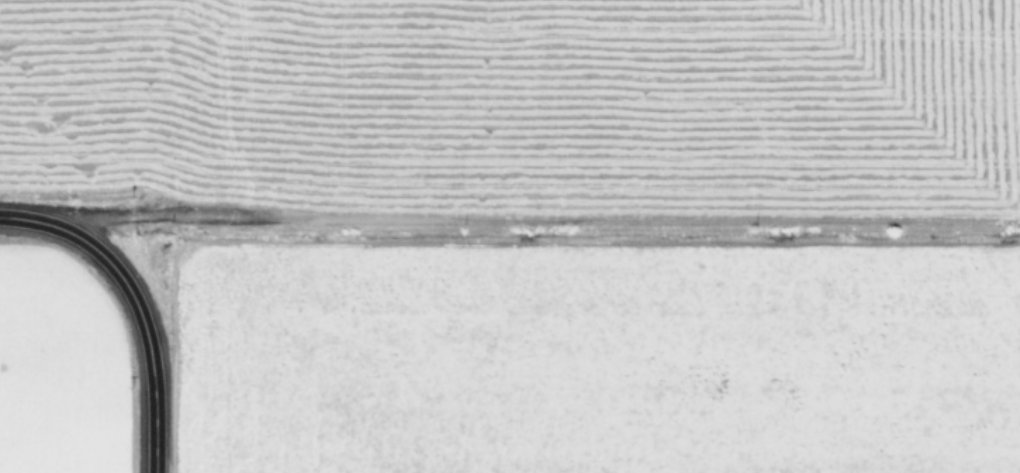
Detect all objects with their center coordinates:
crop: (549, 225)
road: (112, 325)
crop: (42, 405)

